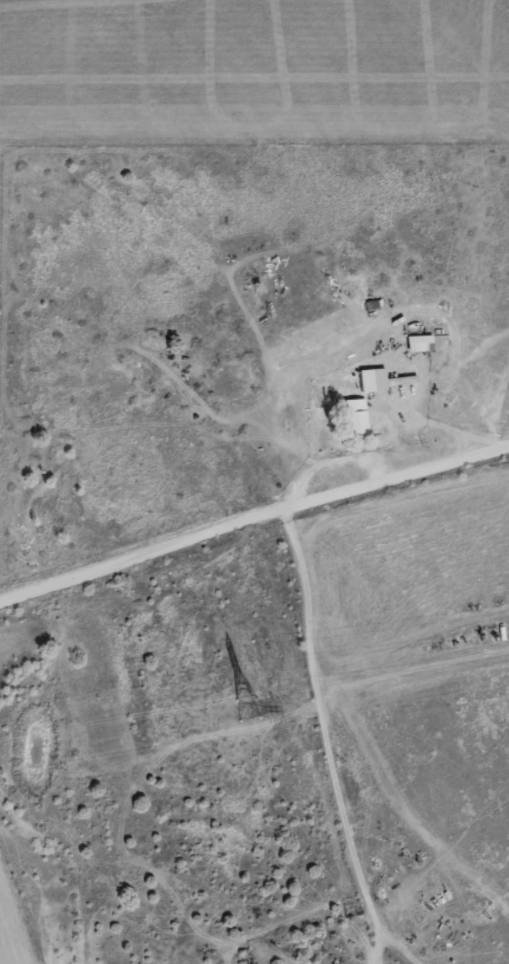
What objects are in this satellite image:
building: (421, 346)
building: (401, 381)
building: (367, 383)
building: (356, 418)
road: (253, 556)
power tower: (250, 712)

